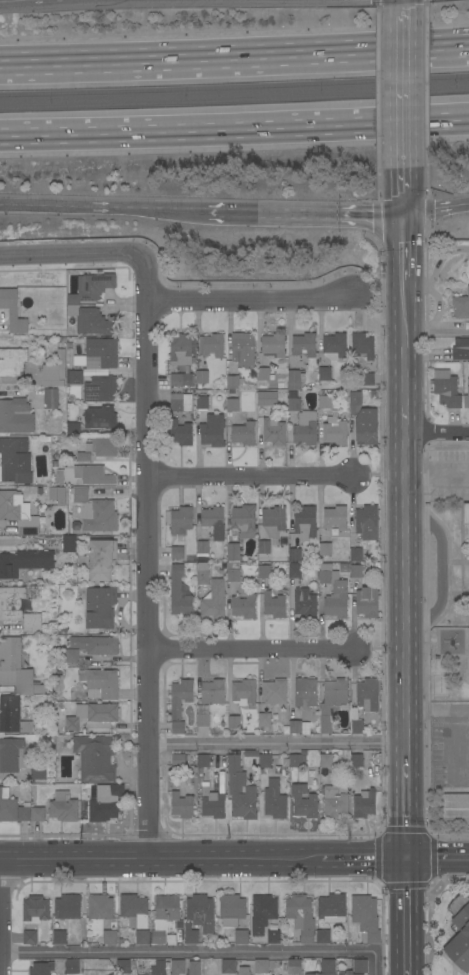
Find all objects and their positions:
road: (13, 0)
road: (404, 1)
road: (234, 46)
railway: (234, 86)
railway: (234, 100)
road: (405, 109)
road: (234, 126)
road: (104, 206)
road: (437, 210)
road: (307, 212)
road: (71, 254)
road: (405, 269)
building: (93, 286)
road: (251, 303)
building: (461, 306)
road: (440, 309)
building: (12, 311)
building: (90, 321)
building: (212, 345)
building: (273, 345)
building: (304, 345)
building: (362, 345)
building: (334, 346)
building: (242, 348)
building: (460, 349)
building: (180, 350)
building: (98, 354)
building: (12, 361)
building: (54, 371)
building: (263, 374)
building: (324, 374)
building: (74, 377)
building: (202, 377)
building: (181, 379)
building: (294, 379)
building: (366, 379)
road: (405, 379)
building: (232, 382)
building: (280, 385)
building: (100, 389)
building: (446, 389)
building: (466, 397)
building: (51, 398)
building: (355, 398)
building: (188, 399)
building: (267, 399)
building: (324, 399)
building: (293, 401)
building: (176, 402)
building: (201, 402)
building: (232, 405)
building: (352, 410)
building: (16, 416)
building: (100, 417)
building: (366, 426)
building: (72, 428)
building: (305, 428)
building: (334, 430)
building: (212, 431)
building: (272, 432)
building: (181, 433)
building: (243, 433)
road: (437, 433)
building: (102, 446)
building: (83, 457)
building: (15, 460)
road: (437, 468)
building: (93, 475)
building: (59, 477)
road: (246, 479)
building: (57, 495)
building: (79, 495)
building: (18, 512)
building: (99, 516)
building: (466, 516)
building: (335, 517)
building: (181, 519)
building: (243, 520)
building: (213, 521)
building: (273, 521)
building: (366, 522)
building: (305, 523)
building: (234, 537)
building: (69, 543)
building: (202, 547)
building: (263, 547)
building: (325, 549)
building: (232, 552)
building: (177, 553)
building: (279, 554)
building: (294, 554)
building: (356, 554)
road: (145, 558)
building: (102, 559)
building: (24, 562)
building: (232, 571)
building: (263, 571)
building: (356, 571)
building: (294, 572)
road: (440, 572)
building: (201, 574)
road: (406, 587)
building: (333, 592)
building: (179, 594)
building: (214, 600)
building: (11, 602)
building: (366, 602)
building: (304, 603)
building: (273, 605)
building: (243, 606)
building: (100, 607)
building: (32, 622)
building: (95, 645)
road: (248, 653)
building: (71, 657)
building: (16, 668)
building: (58, 672)
building: (100, 683)
building: (50, 689)
building: (212, 691)
building: (243, 692)
building: (274, 692)
building: (305, 693)
building: (367, 695)
building: (180, 697)
building: (332, 703)
building: (92, 714)
building: (12, 716)
building: (202, 720)
building: (264, 721)
building: (233, 722)
road: (453, 722)
building: (178, 727)
building: (298, 727)
building: (356, 727)
road: (277, 742)
building: (250, 753)
building: (12, 755)
building: (95, 757)
building: (297, 759)
building: (178, 760)
building: (356, 760)
building: (203, 761)
building: (264, 761)
building: (326, 761)
building: (223, 762)
building: (38, 771)
building: (199, 771)
building: (199, 778)
building: (222, 781)
building: (204, 783)
building: (240, 791)
building: (274, 800)
building: (335, 801)
road: (407, 801)
building: (105, 802)
building: (303, 802)
building: (26, 804)
building: (212, 804)
building: (364, 804)
building: (182, 805)
building: (7, 806)
building: (63, 807)
building: (456, 809)
building: (23, 814)
building: (37, 814)
road: (159, 860)
road: (363, 861)
road: (438, 861)
building: (68, 907)
building: (100, 907)
building: (332, 908)
building: (231, 909)
building: (35, 910)
building: (134, 911)
building: (200, 912)
building: (262, 913)
building: (164, 916)
building: (301, 917)
building: (365, 917)
road: (406, 917)
building: (460, 933)
building: (190, 934)
building: (30, 937)
building: (59, 937)
building: (110, 937)
building: (142, 937)
building: (241, 937)
building: (273, 937)
building: (323, 937)
road: (198, 950)
building: (177, 966)
building: (294, 966)
building: (327, 966)
building: (360, 966)
building: (71, 967)
building: (123, 967)
building: (228, 967)
building: (260, 967)
building: (41, 968)
building: (157, 968)
building: (194, 968)
building: (243, 971)
building: (343, 973)
building: (113, 974)
building: (174, 974)
building: (319, 974)
road: (406, 974)

